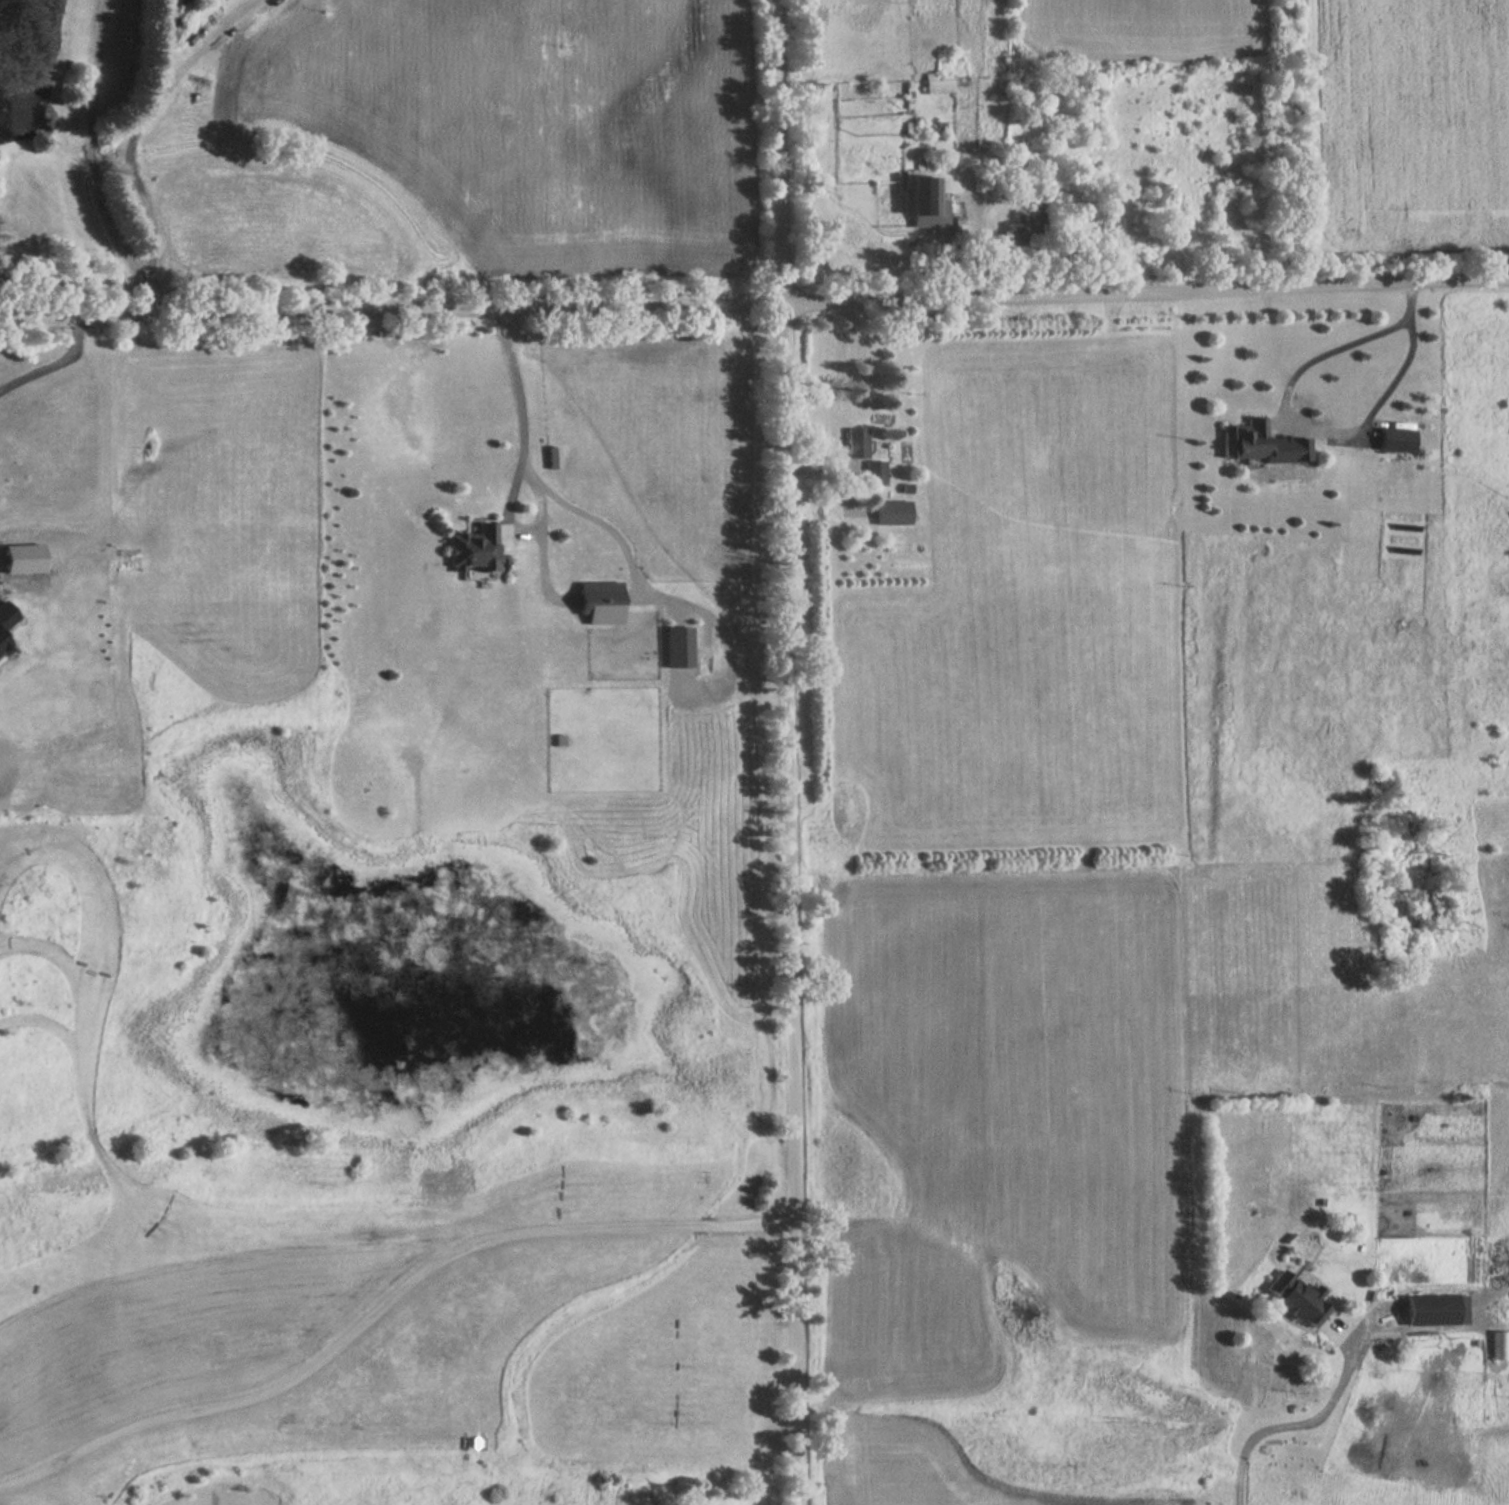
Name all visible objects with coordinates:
building: (937, 84)
building: (908, 94)
road: (93, 164)
building: (925, 196)
building: (1025, 226)
road: (754, 302)
road: (62, 375)
road: (521, 410)
road: (1277, 431)
building: (1397, 440)
building: (1247, 441)
building: (857, 444)
building: (877, 472)
building: (893, 512)
road: (539, 516)
road: (591, 516)
building: (479, 547)
building: (542, 564)
road: (542, 571)
road: (707, 612)
road: (790, 752)
building: (1296, 1298)
road: (384, 1302)
building: (1433, 1310)
road: (1309, 1424)

